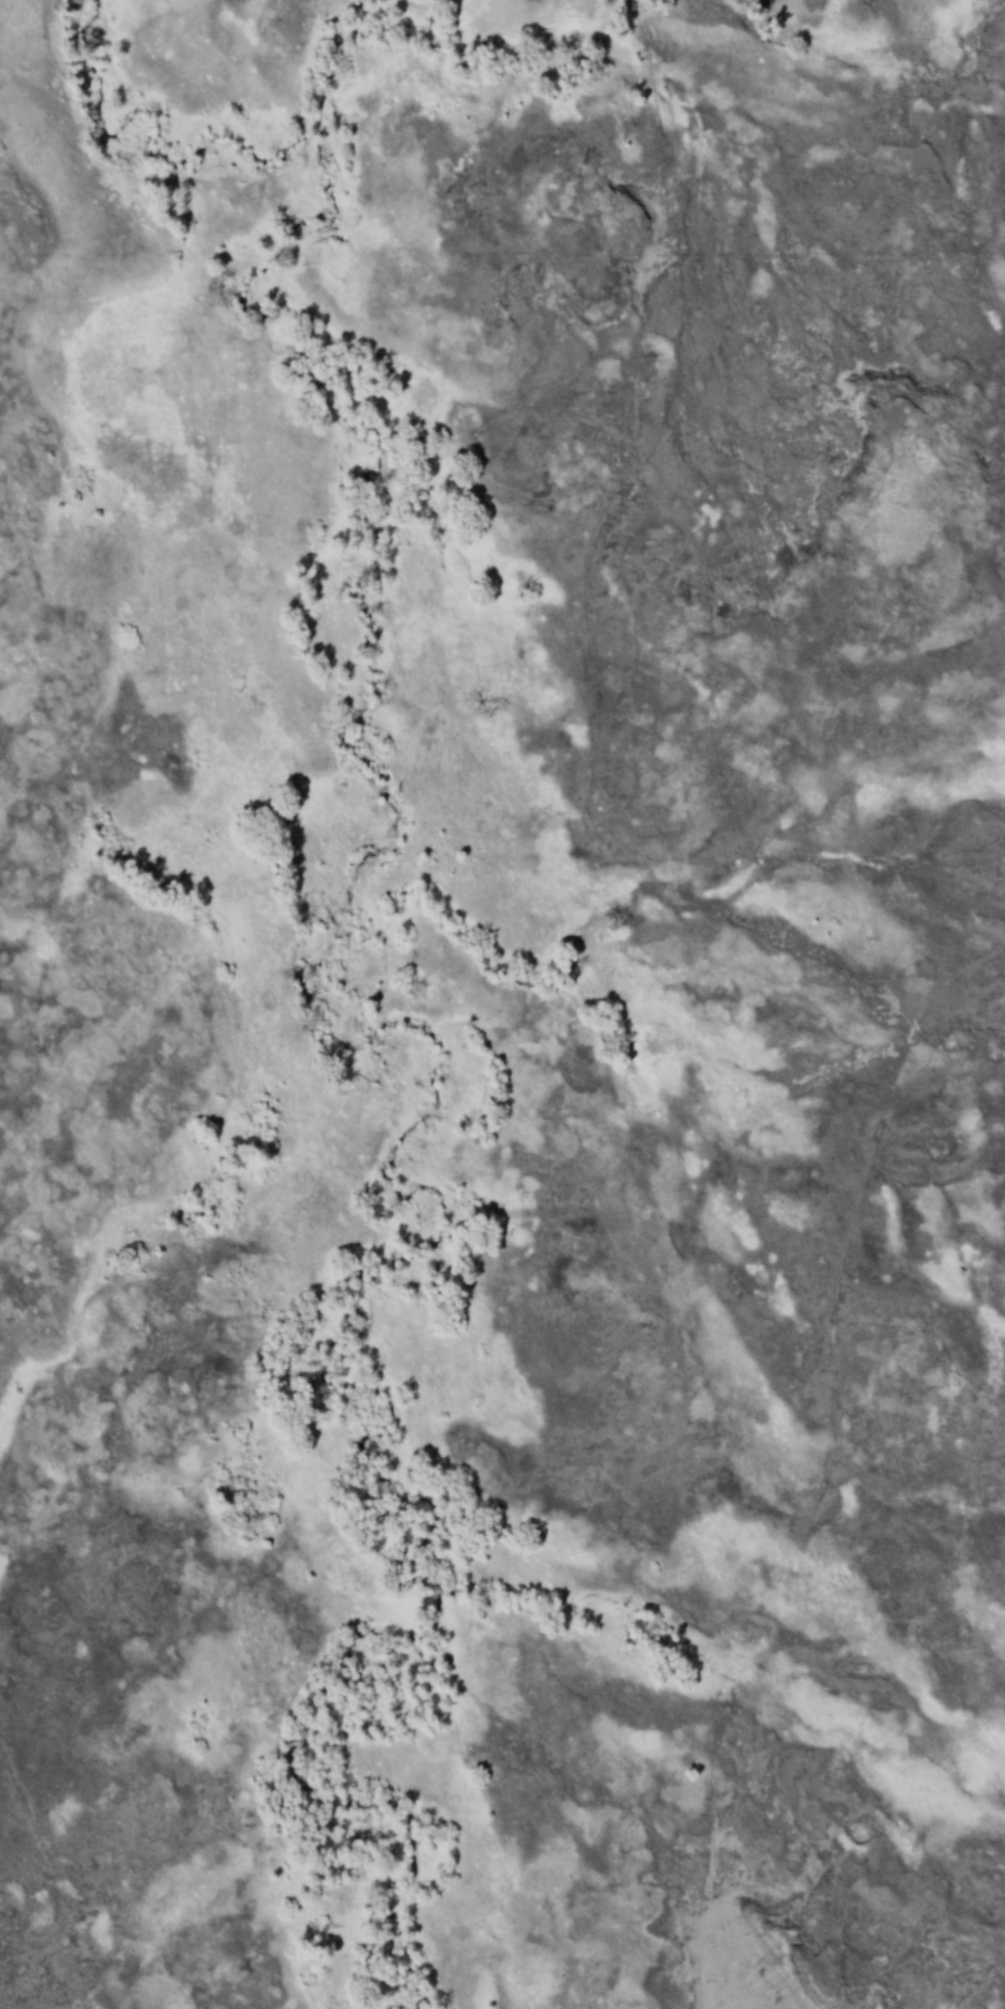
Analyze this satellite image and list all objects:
road: (831, 1465)

